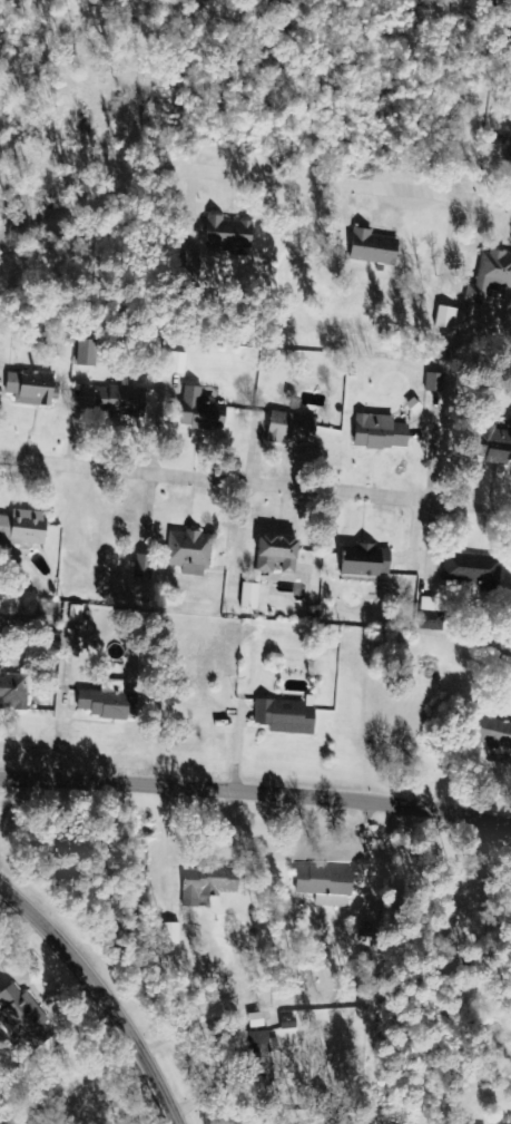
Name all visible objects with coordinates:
building: (509, 155)
road: (489, 198)
building: (230, 234)
building: (374, 247)
building: (491, 278)
building: (450, 317)
building: (87, 352)
building: (177, 362)
building: (434, 382)
building: (32, 389)
building: (121, 400)
building: (200, 411)
building: (293, 428)
building: (381, 432)
building: (501, 447)
road: (255, 480)
building: (24, 528)
building: (189, 551)
building: (278, 555)
building: (368, 561)
building: (472, 570)
building: (431, 620)
building: (13, 692)
building: (109, 704)
building: (286, 715)
building: (498, 735)
road: (256, 789)
building: (326, 881)
building: (208, 883)
building: (332, 900)
road: (8, 901)
building: (171, 934)
road: (106, 990)
building: (24, 1018)
building: (288, 1023)

